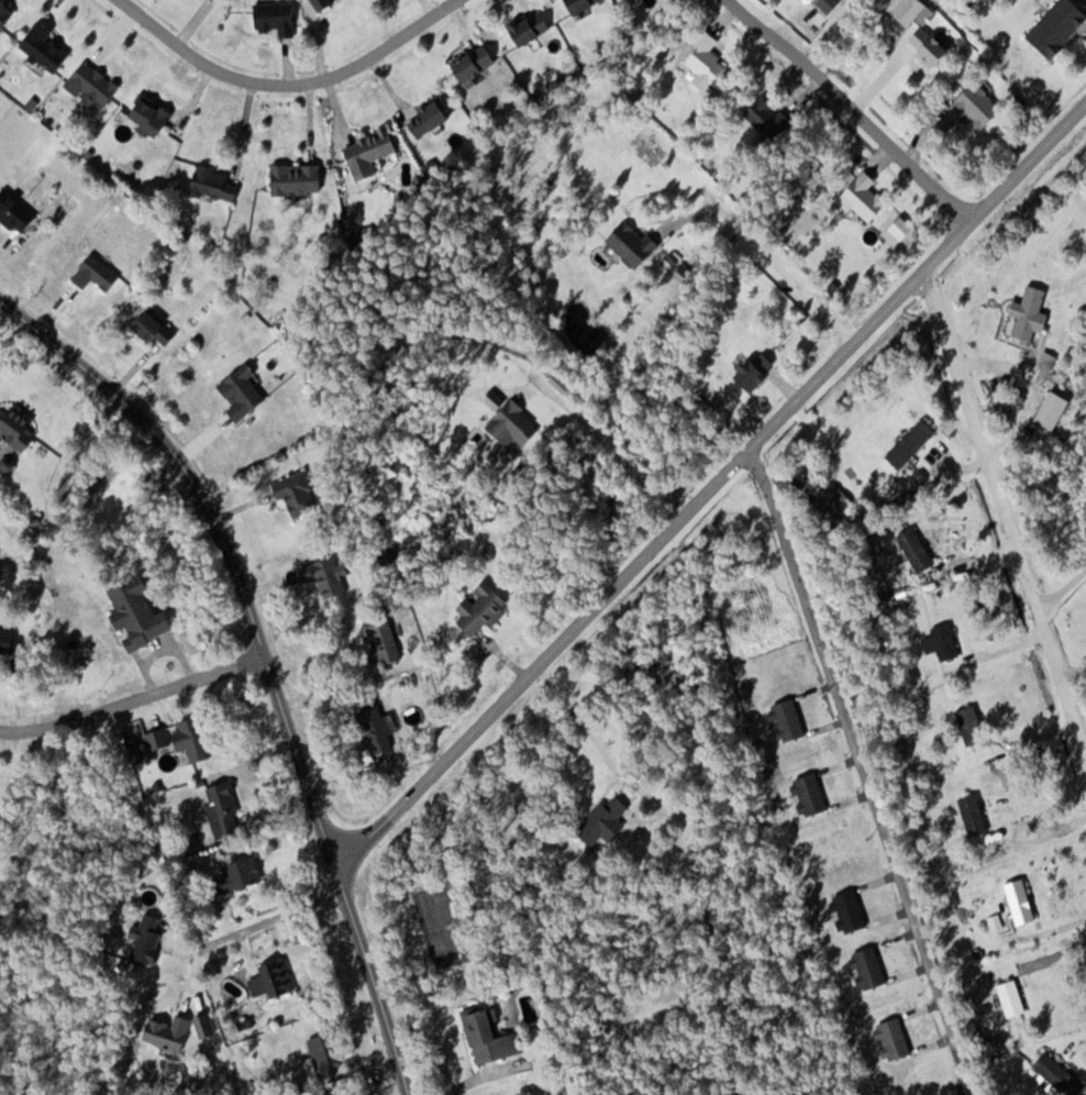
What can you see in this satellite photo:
building: (326, 2)
building: (584, 4)
building: (910, 9)
building: (7, 13)
building: (278, 16)
building: (1060, 26)
building: (532, 27)
building: (932, 45)
building: (46, 47)
building: (476, 62)
building: (708, 62)
road: (287, 84)
building: (93, 85)
building: (980, 106)
road: (850, 108)
building: (153, 113)
building: (432, 115)
building: (771, 118)
building: (372, 153)
building: (298, 178)
building: (215, 182)
building: (867, 196)
building: (18, 212)
building: (635, 244)
road: (773, 255)
building: (98, 274)
building: (1033, 313)
building: (159, 328)
building: (758, 372)
building: (244, 392)
building: (16, 424)
building: (516, 424)
building: (913, 444)
road: (613, 447)
road: (711, 486)
building: (299, 494)
road: (1004, 515)
building: (918, 550)
building: (329, 576)
road: (1062, 590)
building: (484, 608)
building: (141, 613)
building: (385, 639)
building: (11, 640)
building: (948, 642)
road: (264, 659)
road: (132, 700)
building: (790, 719)
road: (584, 723)
building: (973, 725)
building: (200, 740)
road: (864, 767)
building: (811, 795)
building: (225, 799)
building: (975, 815)
building: (606, 821)
building: (242, 875)
building: (1022, 902)
building: (851, 912)
road: (266, 920)
building: (149, 940)
building: (871, 969)
building: (275, 980)
building: (1013, 998)
building: (170, 1032)
building: (491, 1037)
building: (895, 1040)
building: (326, 1052)
building: (1061, 1074)

